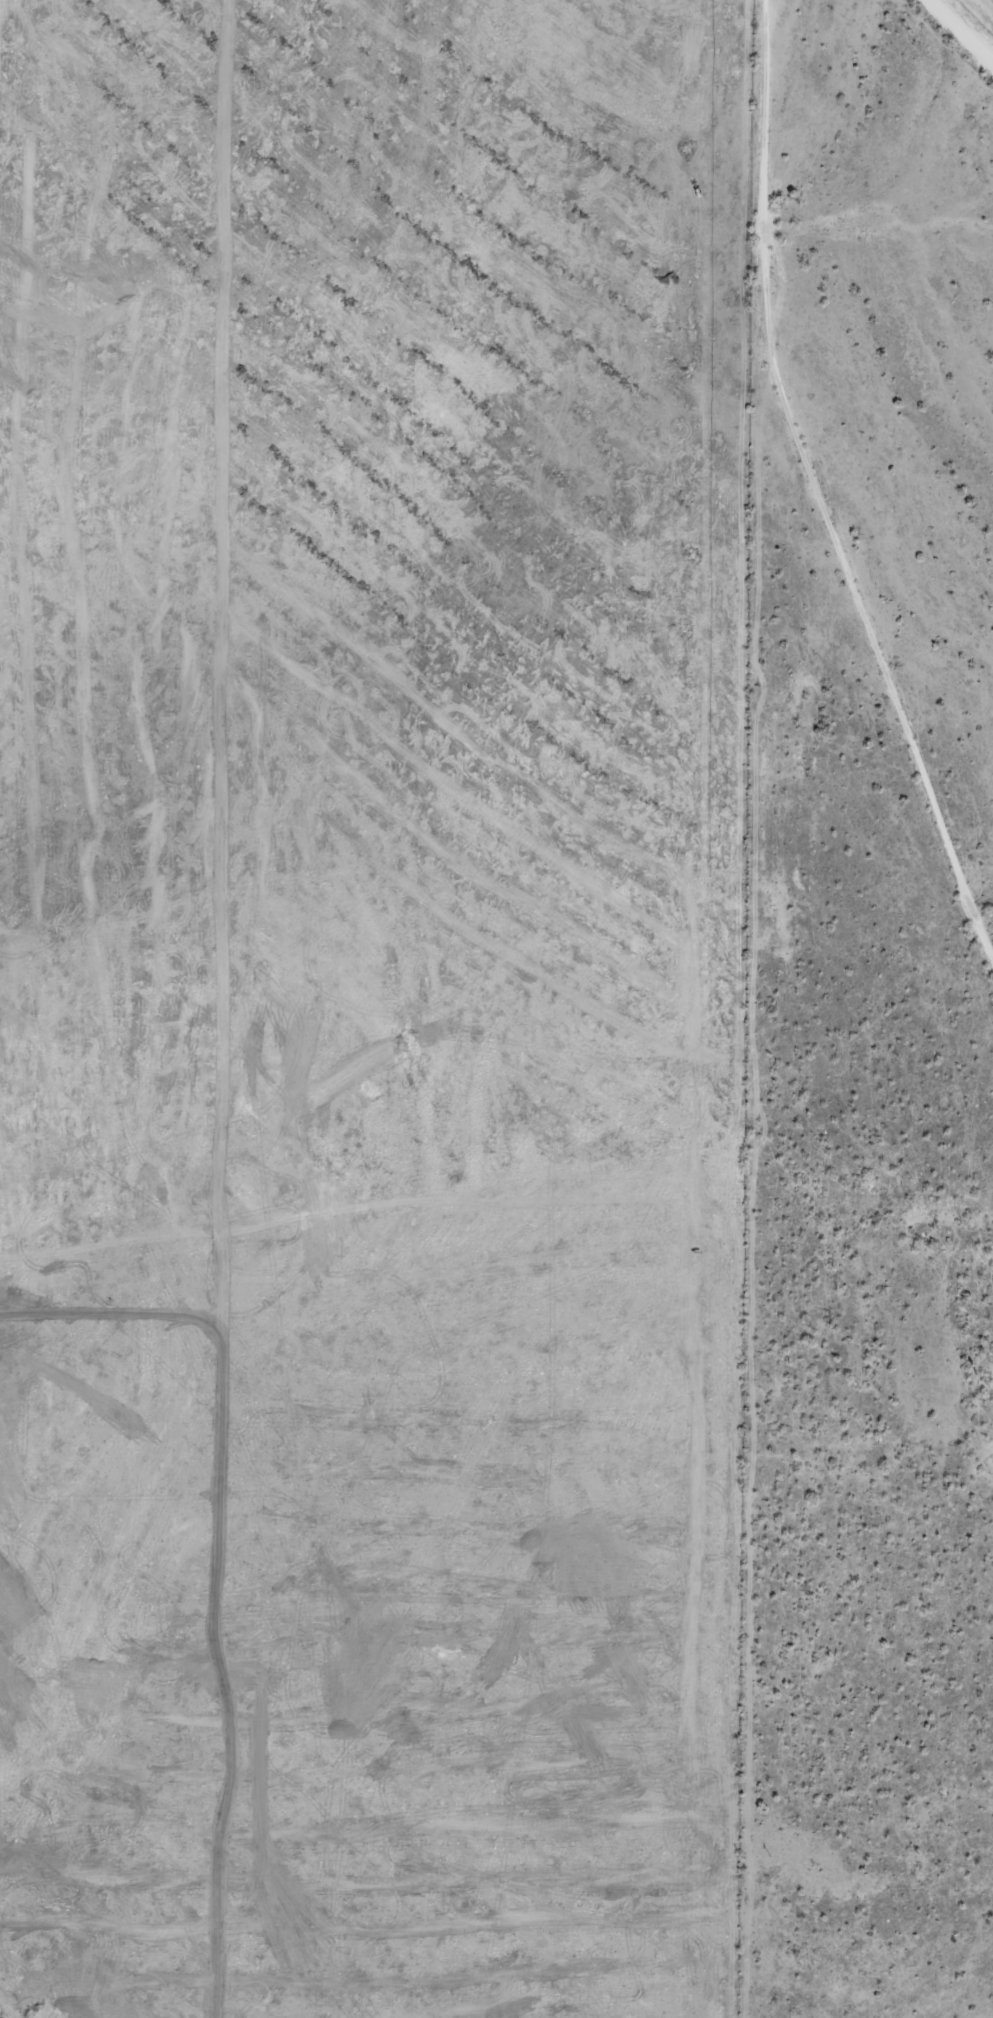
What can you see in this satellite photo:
road: (951, 42)
road: (869, 676)

